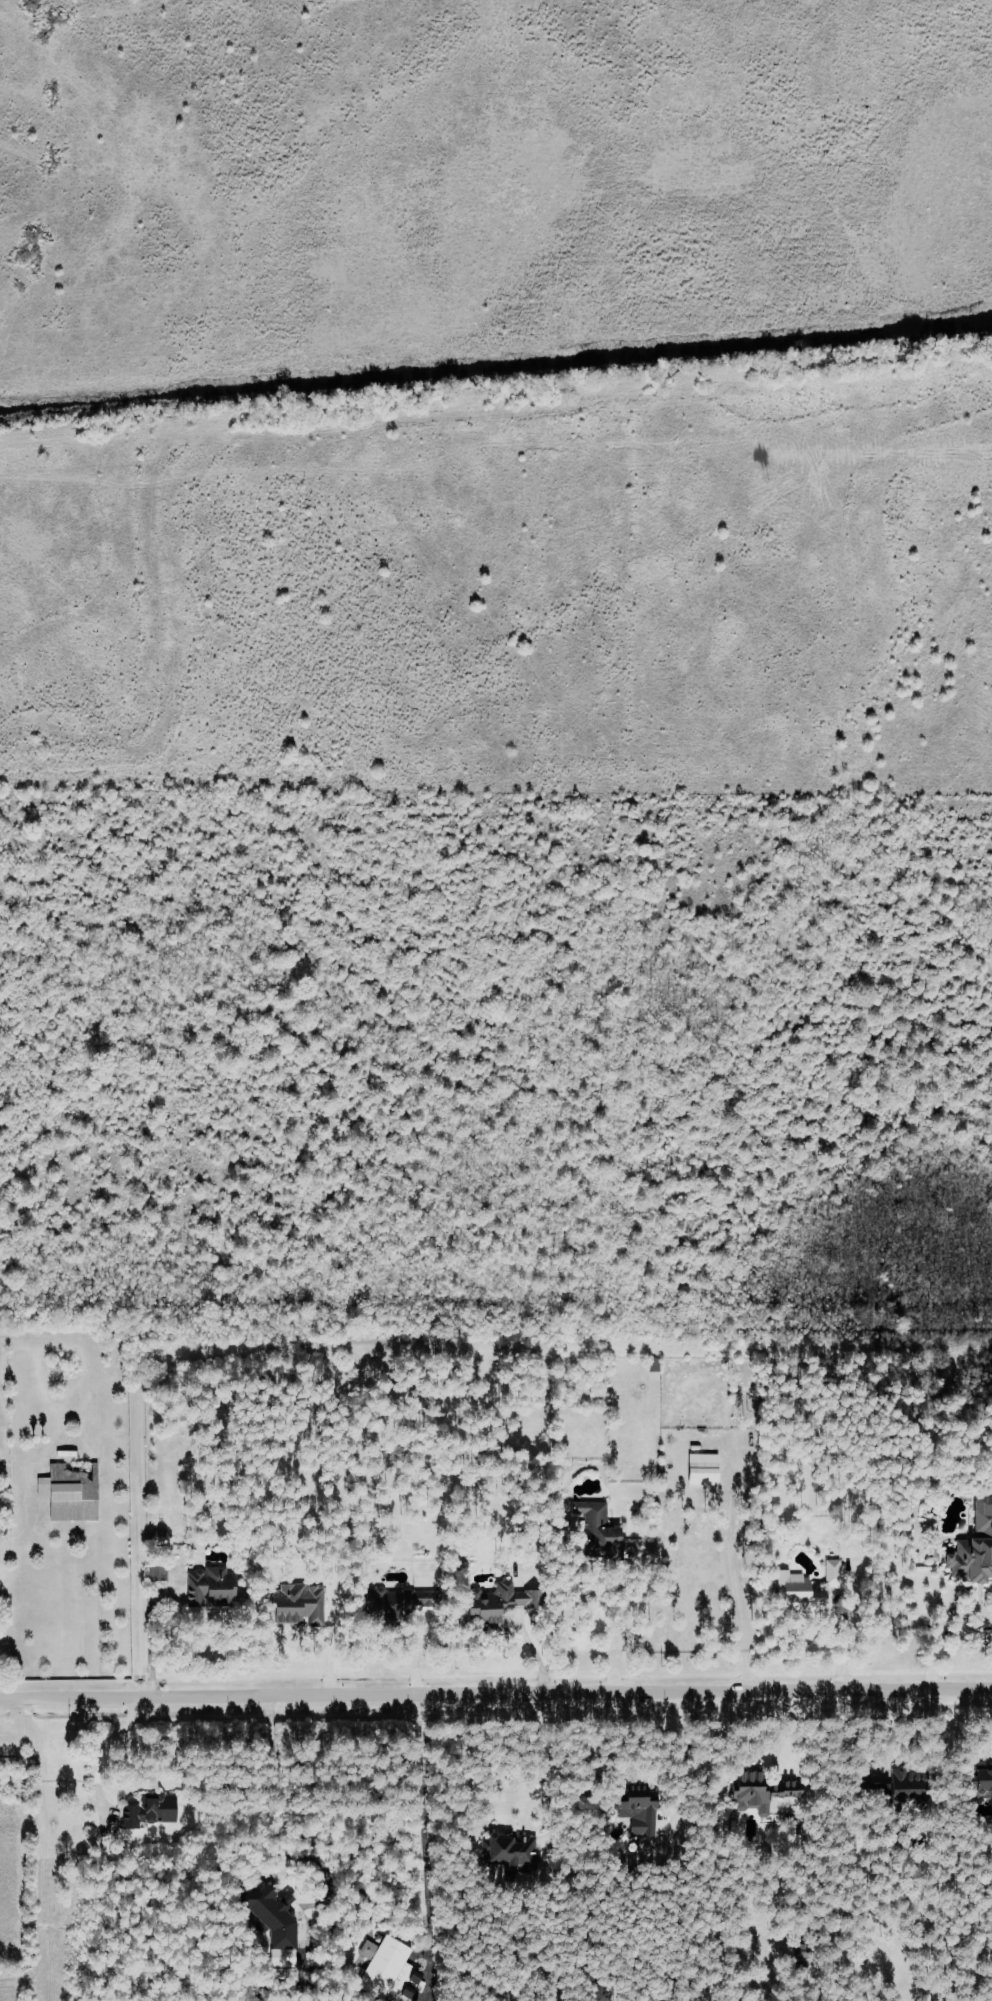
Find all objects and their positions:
building: (702, 1469)
building: (69, 1493)
building: (602, 1539)
building: (974, 1547)
building: (156, 1572)
building: (831, 1572)
building: (209, 1586)
building: (797, 1592)
building: (423, 1598)
road: (734, 1598)
building: (497, 1602)
building: (296, 1604)
road: (851, 1612)
road: (625, 1628)
road: (937, 1630)
road: (149, 1644)
road: (414, 1652)
road: (533, 1653)
road: (496, 1696)
road: (101, 1750)
road: (679, 1753)
road: (540, 1766)
building: (980, 1783)
building: (908, 1787)
building: (761, 1789)
road: (278, 1790)
building: (149, 1811)
building: (638, 1811)
road: (424, 1846)
building: (513, 1853)
building: (274, 1923)
building: (387, 1969)

